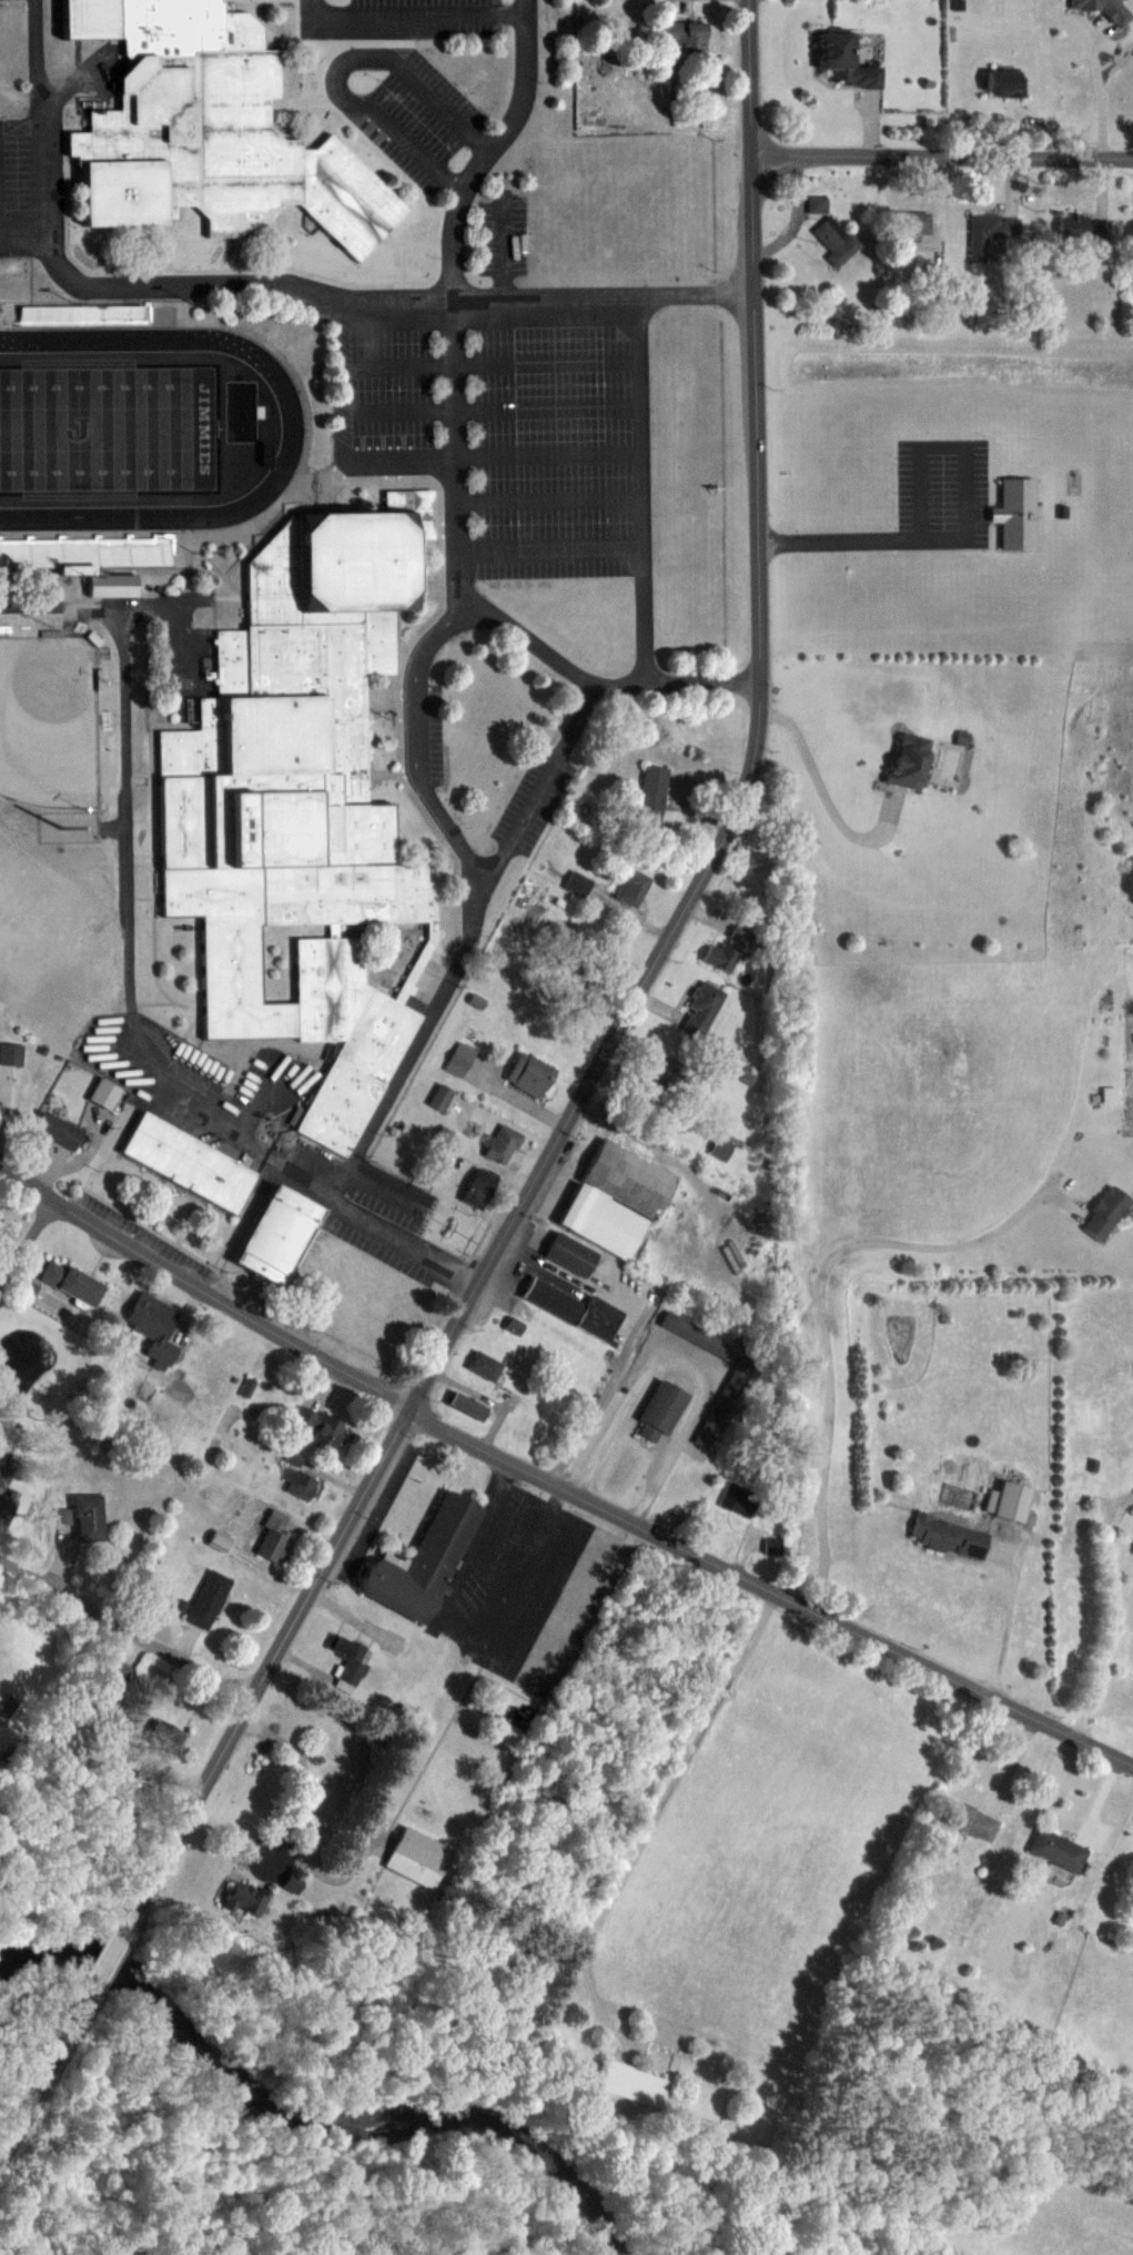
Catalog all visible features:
building: (1095, 7)
road: (514, 13)
road: (402, 16)
building: (685, 34)
road: (31, 50)
building: (843, 60)
road: (368, 63)
parking lot: (396, 75)
road: (749, 77)
building: (1004, 82)
road: (1100, 87)
building: (209, 130)
road: (484, 142)
road: (493, 150)
road: (941, 155)
road: (436, 170)
parking lot: (30, 179)
building: (817, 203)
building: (912, 224)
building: (1084, 229)
building: (991, 231)
road: (18, 235)
building: (836, 240)
road: (163, 285)
building: (1132, 287)
road: (696, 293)
road: (464, 299)
parking lot: (509, 411)
park: (108, 428)
track: (292, 432)
road: (347, 432)
building: (1015, 514)
road: (965, 523)
building: (91, 559)
road: (70, 607)
road: (648, 634)
road: (427, 640)
parking lot: (176, 641)
road: (571, 679)
park: (49, 721)
building: (908, 761)
road: (535, 786)
road: (419, 789)
building: (651, 793)
road: (827, 797)
building: (296, 812)
parking lot: (526, 816)
building: (577, 882)
building: (633, 886)
road: (128, 911)
building: (742, 932)
building: (721, 954)
building: (579, 990)
building: (701, 1008)
building: (10, 1052)
building: (459, 1058)
building: (666, 1069)
road: (591, 1074)
building: (530, 1075)
road: (382, 1094)
building: (441, 1095)
building: (58, 1129)
parking lot: (253, 1131)
building: (502, 1143)
building: (722, 1146)
building: (190, 1162)
building: (478, 1186)
building: (616, 1199)
building: (1105, 1212)
building: (281, 1234)
road: (24, 1237)
building: (569, 1254)
road: (456, 1275)
building: (71, 1280)
road: (201, 1290)
building: (573, 1307)
road: (819, 1313)
building: (155, 1324)
building: (697, 1334)
road: (686, 1362)
building: (486, 1365)
building: (466, 1403)
building: (660, 1412)
building: (317, 1425)
building: (2, 1455)
building: (300, 1485)
building: (739, 1498)
building: (1008, 1500)
building: (84, 1516)
road: (483, 1523)
building: (948, 1536)
building: (219, 1539)
building: (273, 1539)
building: (422, 1560)
road: (769, 1590)
building: (208, 1597)
road: (467, 1599)
road: (1113, 1614)
road: (1008, 1622)
road: (124, 1630)
road: (516, 1652)
building: (347, 1660)
building: (165, 1735)
road: (2, 1771)
road: (655, 1809)
building: (972, 1820)
road: (290, 1821)
building: (1058, 1848)
building: (418, 1857)
building: (292, 1882)
building: (245, 1898)
road: (104, 1965)
road: (40, 2082)
building: (635, 2085)
river: (308, 2123)

